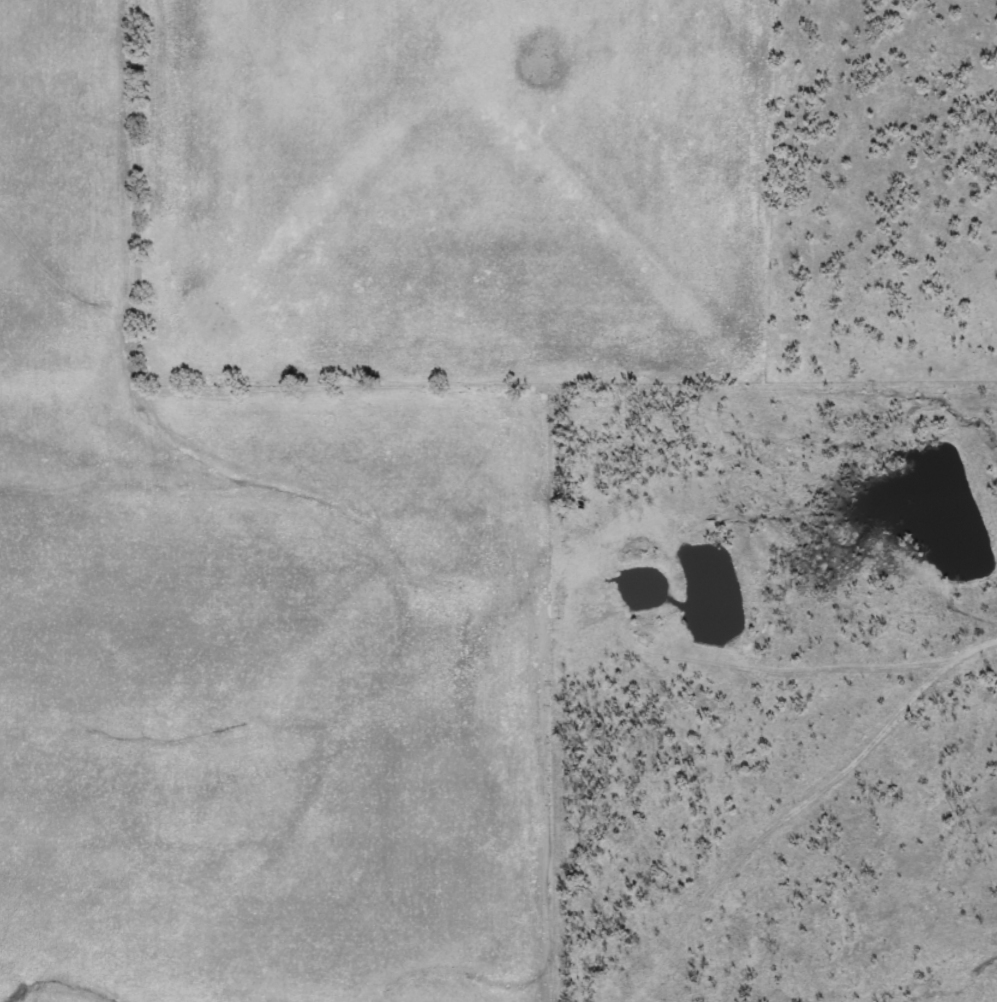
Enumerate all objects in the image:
road: (782, 801)

